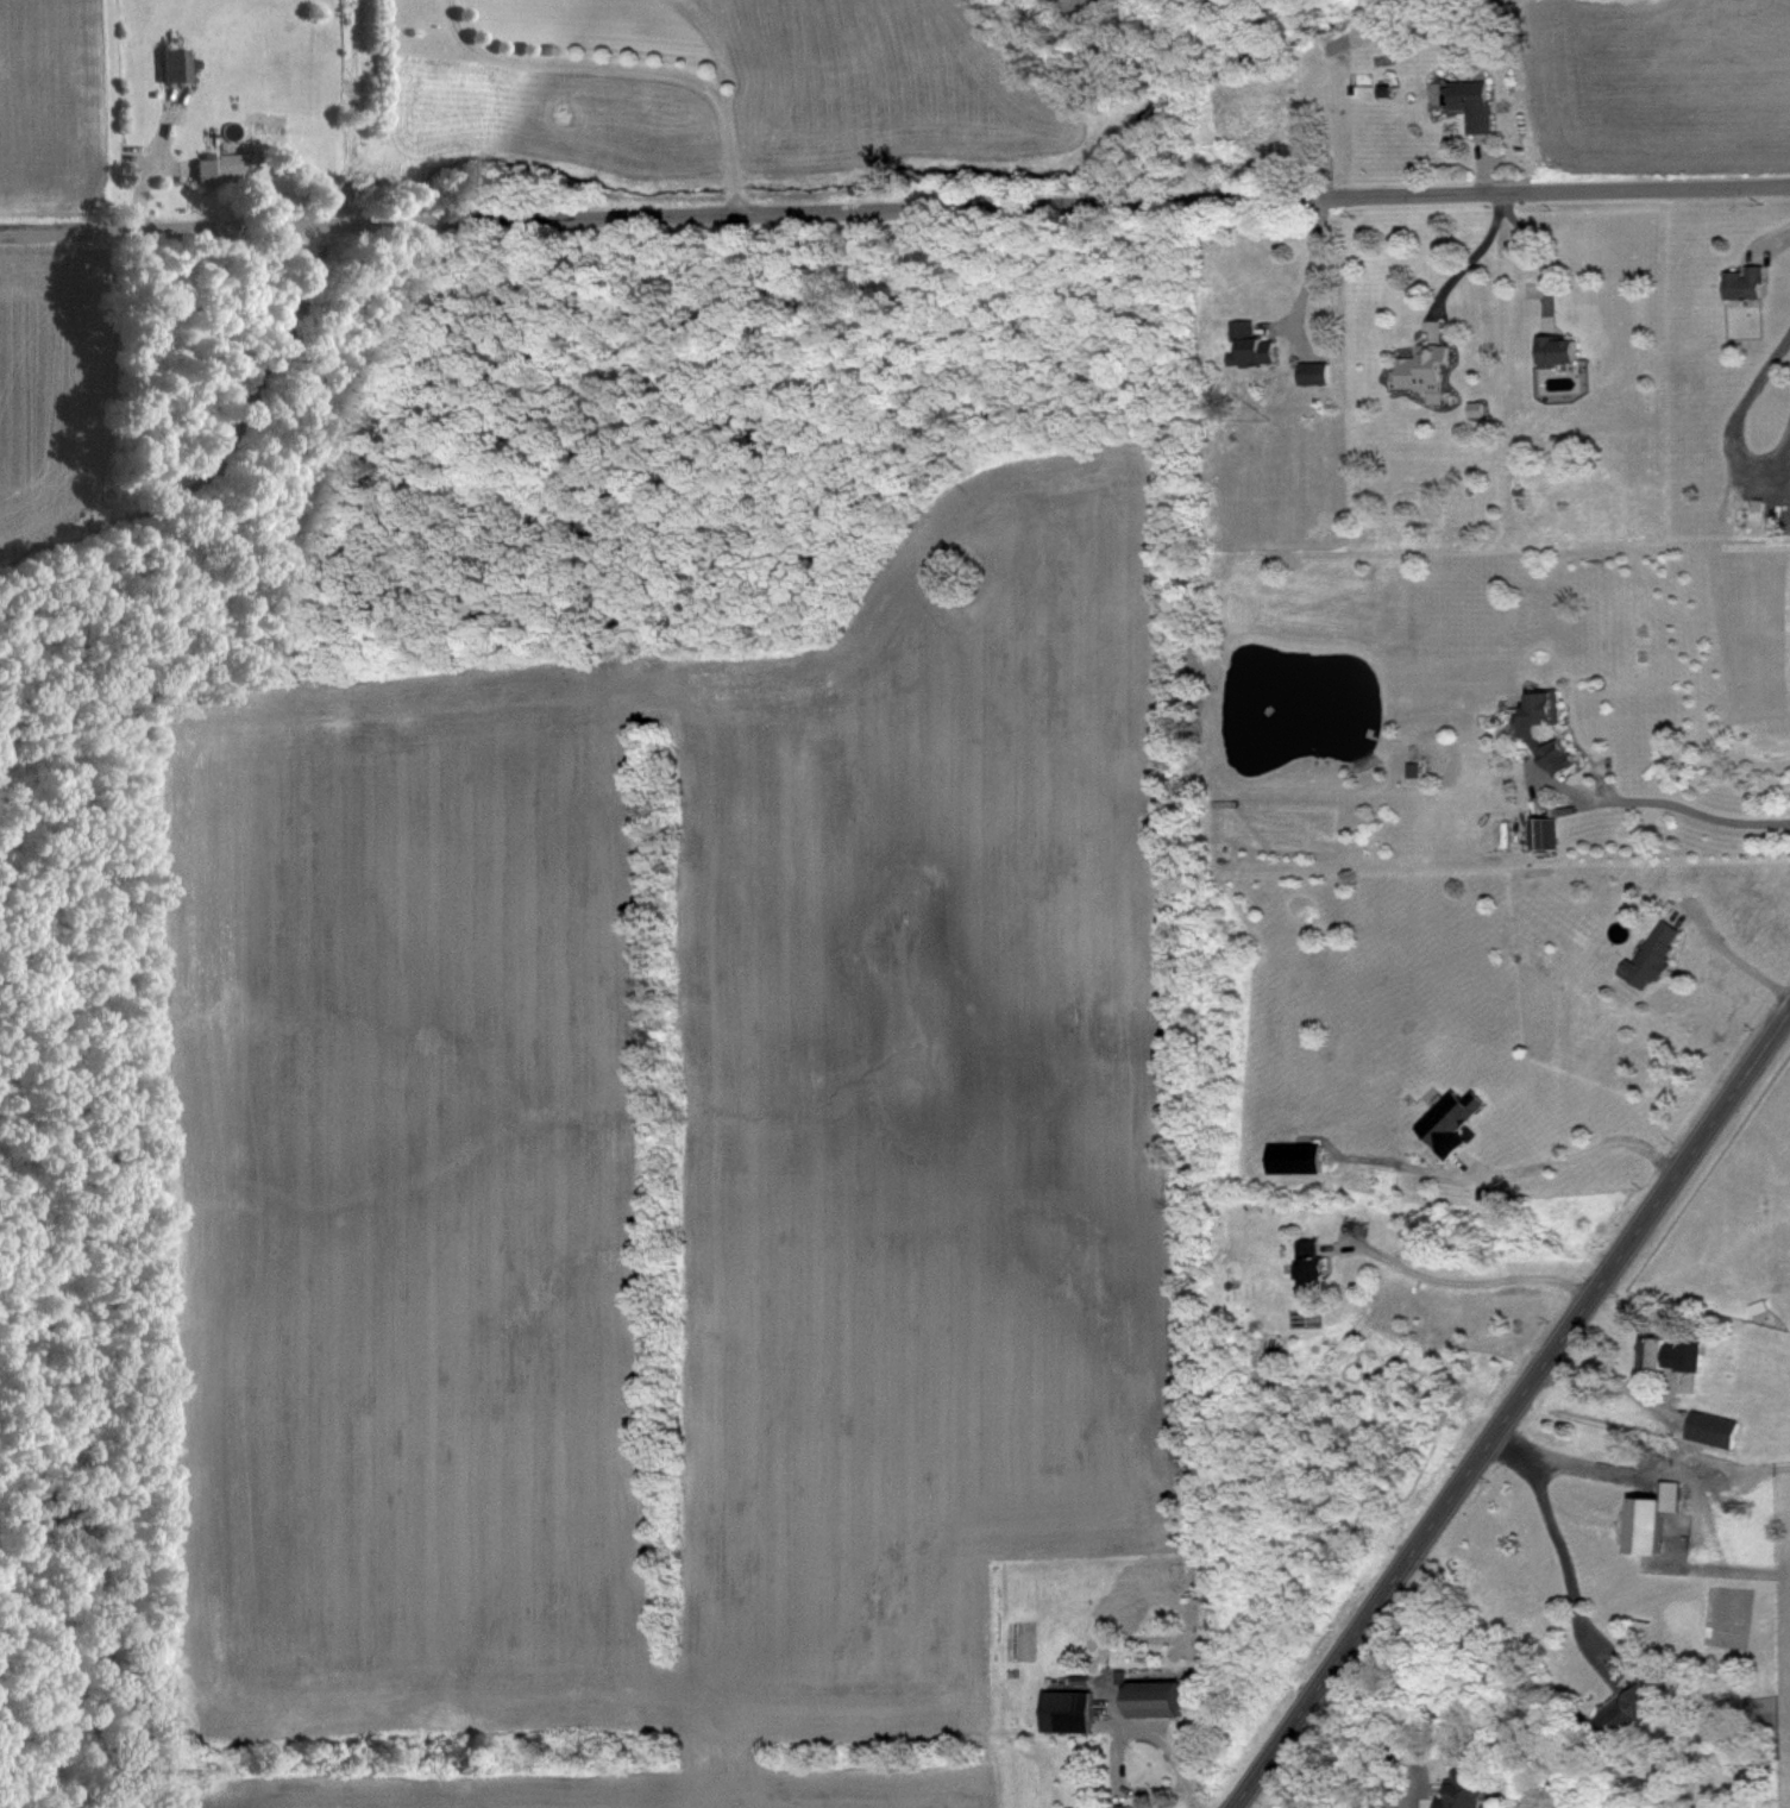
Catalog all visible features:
building: (169, 63)
road: (574, 63)
road: (727, 99)
building: (1470, 101)
building: (216, 165)
road: (894, 214)
road: (1538, 257)
road: (1468, 264)
road: (1308, 266)
building: (1741, 281)
building: (1249, 343)
building: (1552, 350)
building: (1420, 369)
building: (1309, 371)
road: (1738, 415)
building: (1526, 734)
road: (1681, 805)
building: (1541, 831)
building: (1650, 954)
road: (1733, 959)
building: (1446, 1118)
building: (1290, 1156)
road: (1521, 1168)
building: (1306, 1263)
road: (1462, 1281)
building: (1647, 1350)
building: (1687, 1354)
road: (1513, 1410)
building: (1709, 1427)
building: (1647, 1515)
road: (1553, 1551)
building: (1626, 1708)
building: (1062, 1709)
road: (1387, 1738)
road: (1168, 1746)
building: (1456, 1791)
building: (1118, 1806)

